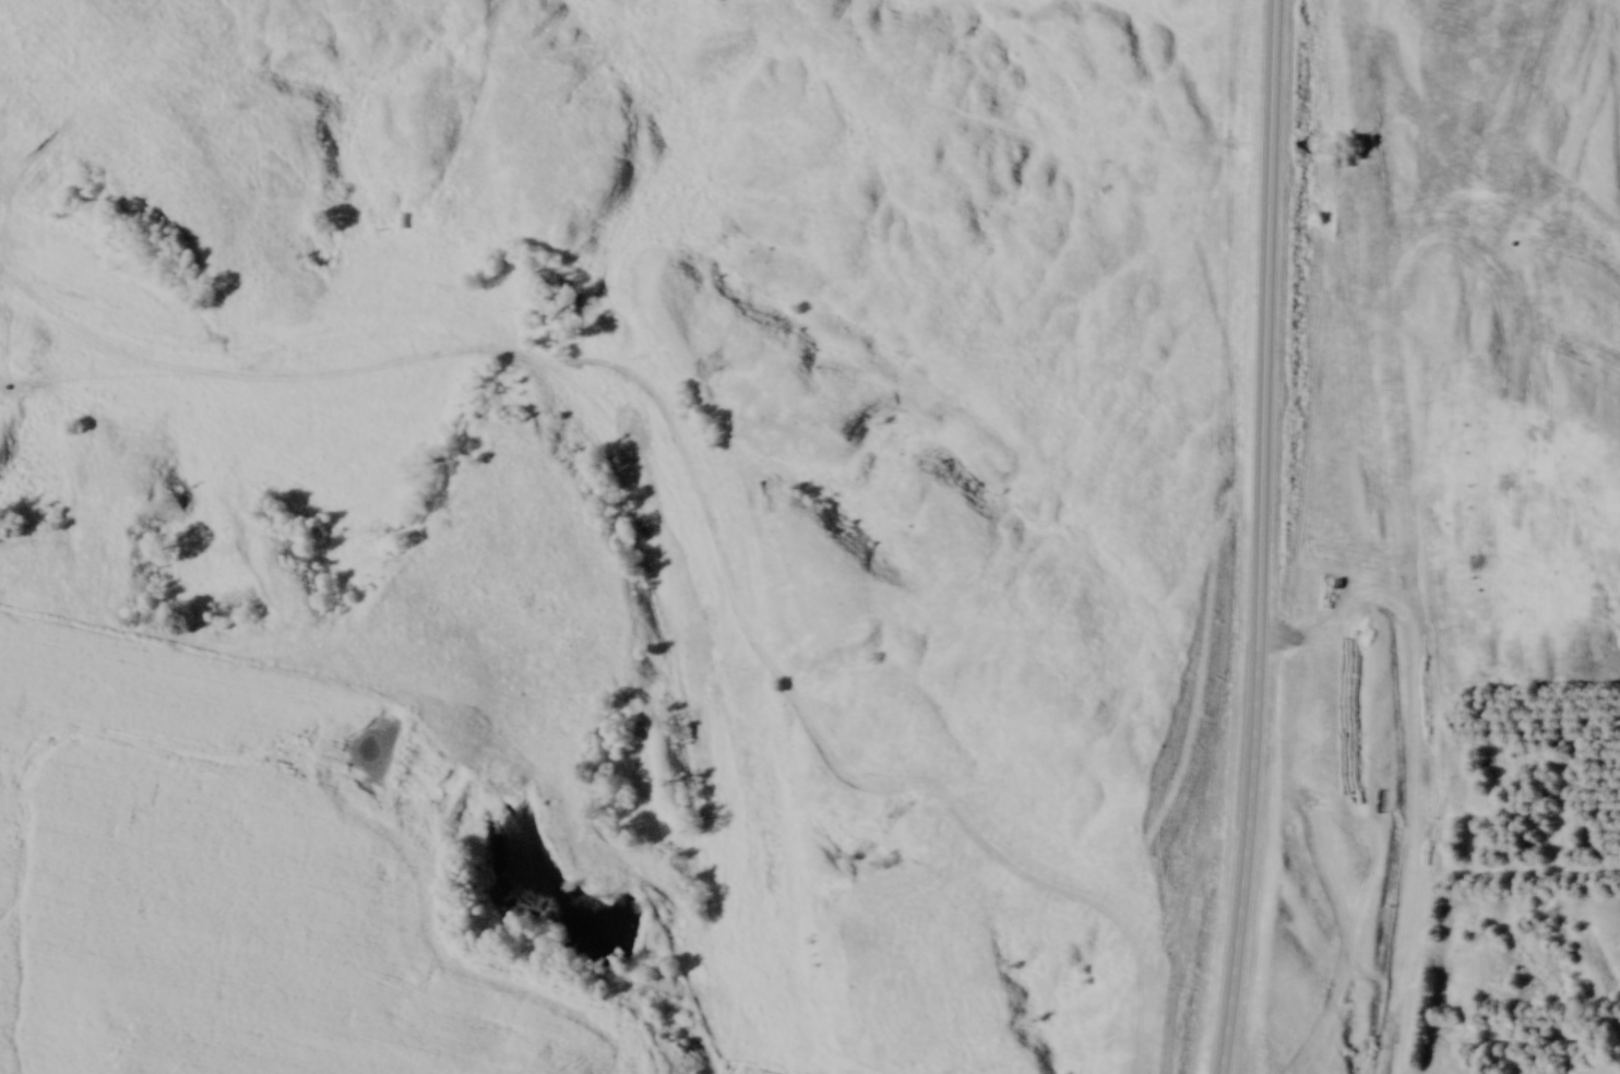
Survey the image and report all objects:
building: (406, 224)
road: (1261, 537)

